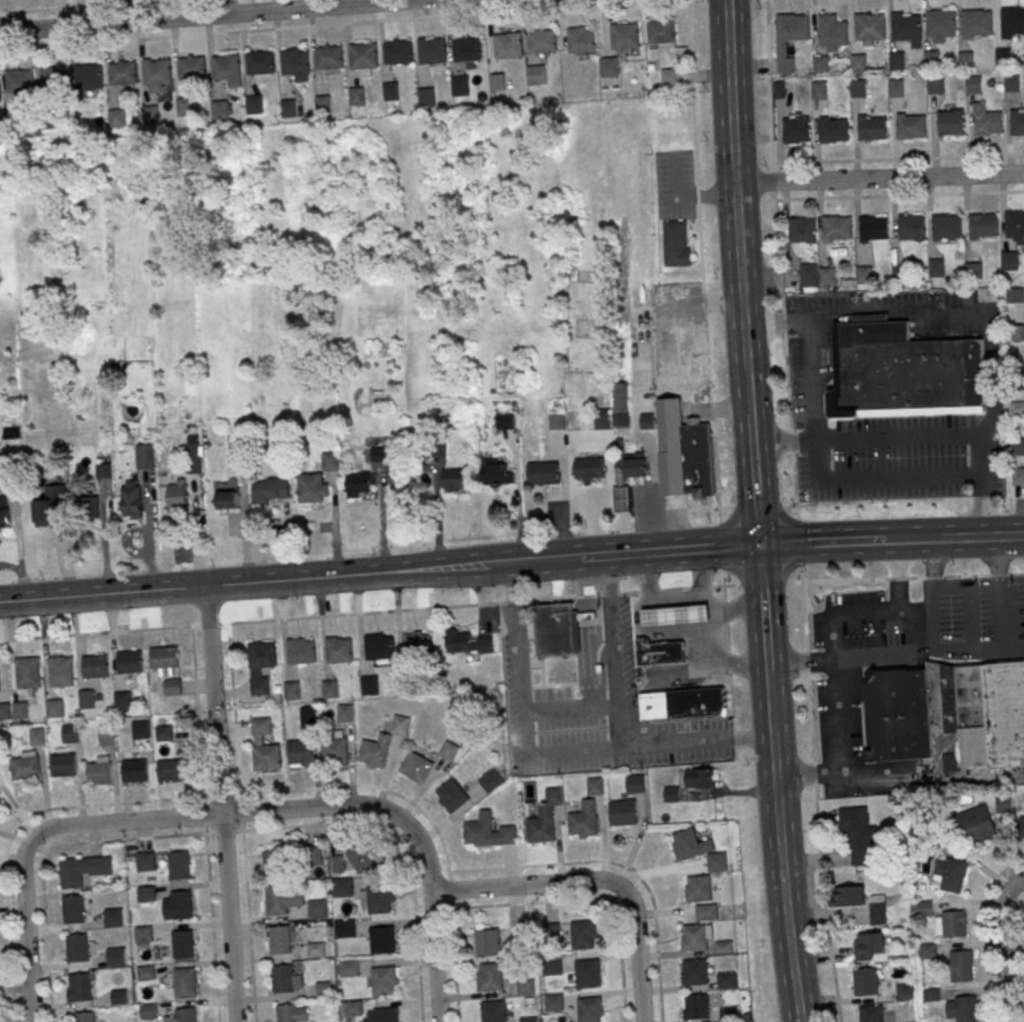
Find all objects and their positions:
road: (98, 6)
road: (207, 15)
building: (1012, 22)
building: (976, 23)
building: (940, 24)
road: (325, 25)
building: (869, 27)
building: (906, 27)
building: (790, 28)
road: (0, 29)
building: (832, 31)
building: (660, 32)
building: (624, 35)
building: (581, 41)
building: (541, 42)
building: (507, 46)
building: (466, 50)
building: (397, 52)
building: (431, 52)
building: (362, 56)
building: (1003, 57)
building: (328, 58)
building: (931, 59)
building: (965, 60)
building: (897, 61)
building: (260, 62)
building: (294, 63)
building: (859, 63)
building: (820, 64)
building: (226, 66)
building: (606, 67)
building: (192, 69)
building: (157, 71)
building: (122, 74)
building: (534, 75)
building: (88, 77)
building: (19, 81)
building: (53, 81)
road: (769, 81)
building: (496, 82)
building: (972, 84)
building: (1011, 84)
building: (935, 85)
building: (459, 86)
building: (857, 88)
building: (895, 88)
building: (819, 89)
building: (390, 92)
building: (356, 96)
building: (425, 98)
building: (254, 105)
building: (322, 105)
building: (185, 107)
building: (288, 108)
building: (219, 110)
building: (150, 116)
building: (117, 119)
building: (13, 120)
building: (47, 121)
building: (950, 122)
building: (987, 122)
building: (1017, 122)
building: (910, 126)
building: (872, 127)
building: (833, 129)
building: (796, 130)
road: (898, 158)
road: (879, 178)
road: (733, 179)
road: (880, 196)
building: (983, 225)
building: (911, 227)
building: (946, 227)
building: (1014, 227)
building: (836, 228)
building: (873, 228)
building: (800, 230)
building: (675, 244)
road: (700, 254)
building: (1009, 260)
building: (935, 268)
building: (808, 275)
building: (862, 275)
building: (826, 276)
building: (1014, 295)
road: (776, 321)
building: (896, 372)
road: (992, 374)
building: (975, 376)
road: (748, 387)
road: (680, 395)
building: (621, 404)
road: (789, 406)
building: (1016, 409)
building: (602, 419)
building: (556, 420)
building: (505, 421)
building: (646, 421)
road: (897, 441)
building: (194, 454)
building: (380, 454)
building: (145, 457)
building: (693, 459)
building: (330, 461)
building: (589, 468)
building: (103, 469)
building: (497, 474)
building: (543, 474)
building: (1018, 476)
building: (627, 479)
building: (454, 480)
road: (755, 480)
building: (360, 485)
building: (311, 489)
building: (270, 491)
building: (178, 497)
building: (131, 499)
building: (228, 499)
road: (909, 499)
building: (50, 507)
building: (90, 507)
road: (981, 507)
building: (3, 512)
road: (984, 537)
road: (915, 539)
road: (879, 540)
road: (816, 543)
traffic signals: (760, 546)
road: (674, 550)
road: (18, 551)
road: (583, 557)
road: (10, 568)
road: (933, 574)
road: (895, 576)
road: (289, 580)
road: (803, 582)
road: (793, 583)
road: (761, 584)
road: (999, 592)
road: (676, 598)
road: (764, 606)
road: (713, 607)
road: (368, 613)
building: (676, 615)
gas station: (676, 615)
road: (839, 616)
building: (558, 628)
road: (715, 639)
building: (467, 642)
building: (416, 645)
building: (378, 648)
building: (338, 651)
building: (300, 652)
road: (615, 652)
building: (659, 652)
building: (162, 658)
road: (851, 660)
building: (129, 662)
building: (260, 666)
building: (94, 667)
building: (60, 672)
building: (27, 673)
building: (407, 682)
building: (369, 686)
building: (172, 688)
building: (329, 690)
building: (291, 691)
road: (769, 692)
building: (86, 699)
building: (121, 702)
building: (681, 704)
building: (53, 709)
building: (4, 711)
building: (19, 711)
building: (980, 713)
building: (344, 714)
building: (901, 714)
building: (307, 716)
building: (399, 726)
road: (234, 727)
building: (138, 731)
building: (163, 733)
building: (70, 735)
building: (106, 736)
building: (36, 737)
building: (263, 747)
building: (333, 751)
building: (374, 752)
building: (448, 752)
building: (299, 753)
road: (554, 754)
building: (62, 766)
building: (24, 768)
building: (415, 768)
building: (169, 771)
building: (133, 772)
road: (872, 773)
building: (98, 774)
building: (699, 778)
building: (490, 782)
building: (634, 785)
building: (594, 787)
road: (263, 792)
building: (451, 797)
road: (221, 804)
road: (255, 811)
building: (621, 814)
building: (543, 820)
building: (583, 821)
road: (340, 824)
building: (976, 825)
building: (487, 833)
building: (858, 836)
building: (689, 846)
building: (311, 855)
building: (363, 857)
building: (145, 861)
building: (275, 863)
building: (716, 863)
building: (178, 865)
road: (520, 866)
road: (782, 869)
building: (70, 874)
building: (949, 874)
road: (529, 884)
building: (342, 888)
building: (697, 888)
building: (848, 896)
building: (282, 899)
building: (378, 900)
road: (570, 900)
building: (177, 904)
road: (1023, 904)
road: (210, 909)
building: (73, 910)
building: (317, 910)
building: (878, 910)
road: (826, 911)
building: (706, 913)
building: (112, 918)
road: (654, 922)
building: (954, 923)
road: (248, 926)
building: (344, 929)
road: (25, 930)
road: (987, 931)
building: (142, 935)
building: (583, 935)
building: (694, 939)
building: (278, 941)
building: (381, 941)
road: (46, 942)
building: (489, 942)
building: (869, 945)
building: (181, 946)
road: (1008, 946)
road: (417, 947)
building: (76, 948)
building: (315, 951)
building: (927, 951)
road: (638, 955)
building: (114, 957)
road: (434, 957)
road: (454, 965)
building: (961, 966)
building: (551, 967)
building: (348, 969)
building: (588, 973)
building: (694, 973)
building: (144, 974)
building: (489, 977)
building: (282, 980)
building: (865, 981)
building: (382, 982)
building: (726, 982)
building: (184, 984)
building: (525, 987)
building: (79, 988)
building: (323, 989)
building: (905, 991)
building: (118, 998)
building: (553, 1004)
building: (695, 1008)
building: (352, 1009)
building: (590, 1009)
building: (964, 1009)
building: (147, 1012)
building: (493, 1012)
building: (285, 1014)
building: (871, 1014)
building: (385, 1015)
building: (728, 1015)
building: (182, 1016)
building: (83, 1017)
building: (528, 1020)

